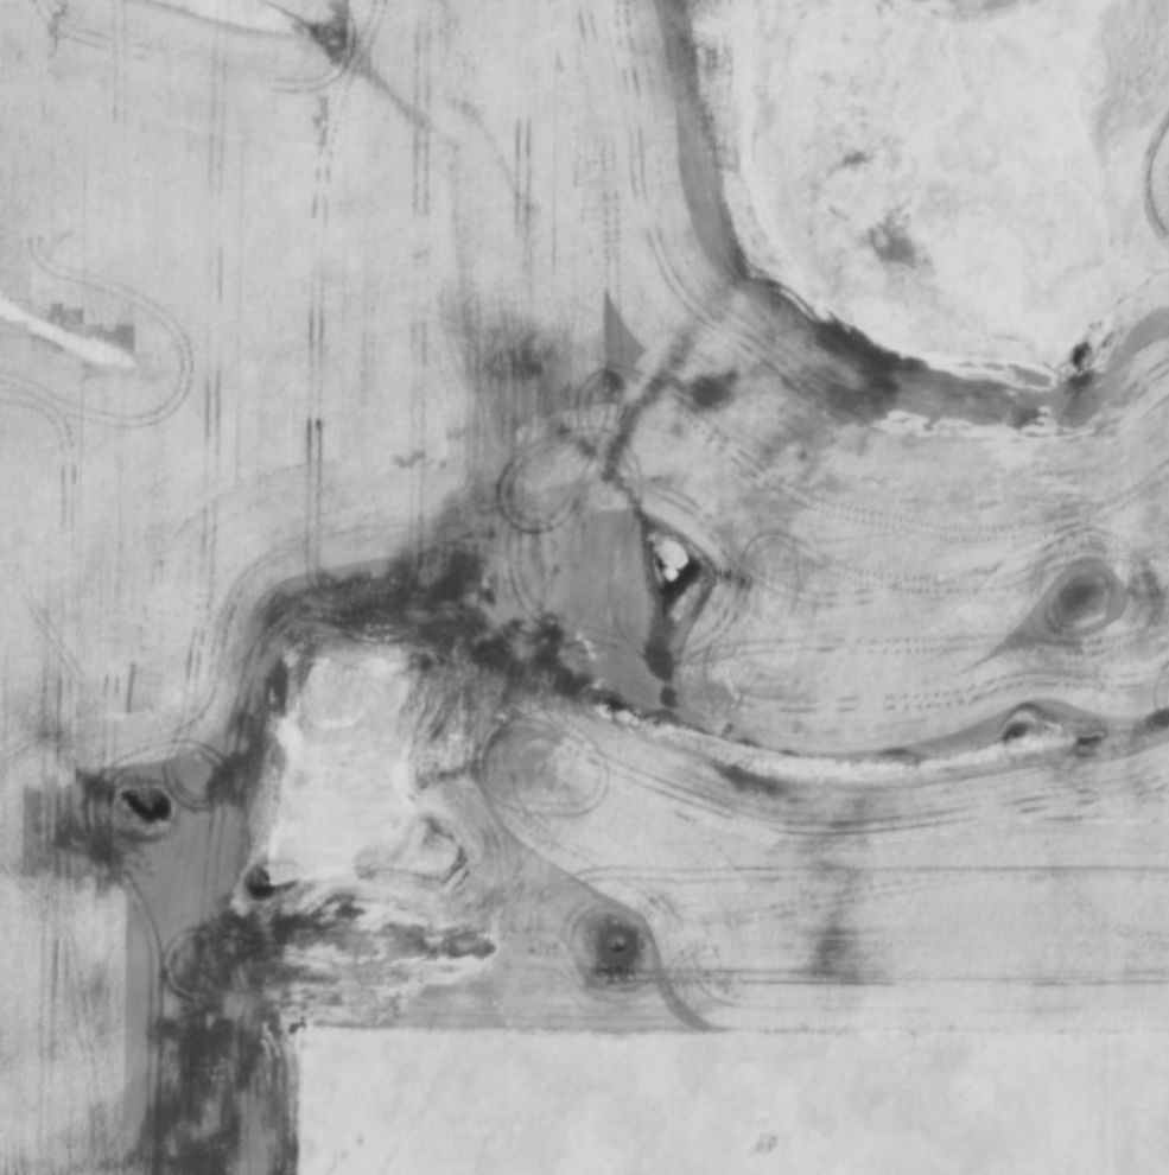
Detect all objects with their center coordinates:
crop: (568, 532)

